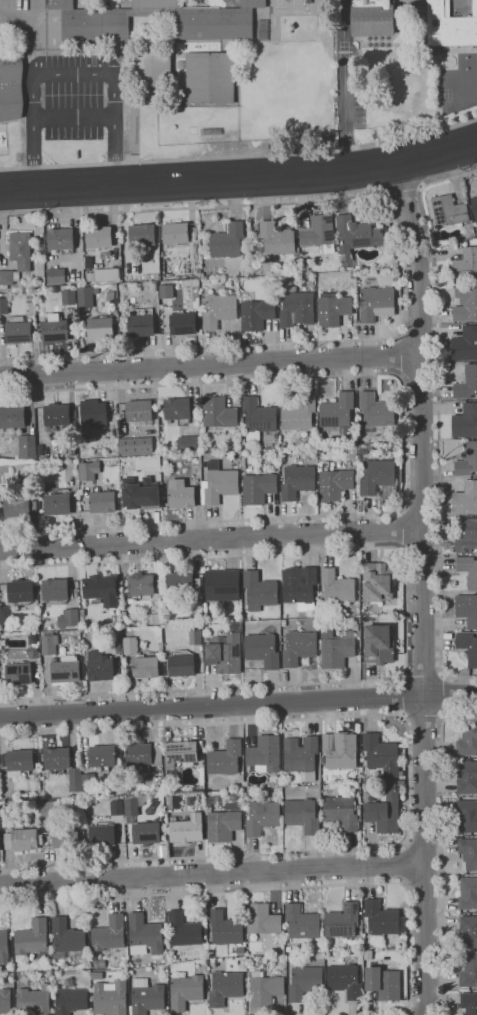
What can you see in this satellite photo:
road: (38, 7)
road: (19, 15)
building: (371, 17)
building: (449, 25)
building: (206, 27)
road: (39, 44)
road: (73, 71)
building: (155, 75)
building: (209, 77)
building: (10, 85)
road: (344, 85)
road: (74, 115)
road: (240, 154)
road: (240, 177)
road: (134, 185)
road: (403, 189)
road: (264, 203)
building: (474, 206)
building: (448, 211)
building: (176, 233)
building: (319, 233)
building: (142, 234)
building: (98, 237)
building: (355, 237)
building: (60, 239)
building: (276, 239)
building: (227, 241)
building: (108, 253)
building: (17, 257)
building: (88, 263)
building: (466, 265)
building: (246, 268)
building: (106, 274)
building: (353, 275)
building: (54, 276)
building: (474, 284)
building: (279, 287)
building: (165, 290)
building: (67, 296)
building: (86, 297)
building: (376, 303)
building: (465, 304)
building: (3, 305)
building: (296, 308)
building: (332, 308)
building: (219, 310)
building: (33, 311)
building: (256, 314)
building: (142, 323)
building: (182, 323)
building: (55, 329)
building: (18, 330)
building: (100, 330)
building: (465, 344)
road: (199, 347)
road: (399, 357)
road: (209, 364)
building: (467, 383)
building: (175, 410)
building: (139, 411)
building: (376, 411)
building: (93, 412)
building: (218, 412)
building: (299, 414)
building: (339, 414)
building: (57, 415)
road: (438, 417)
building: (12, 418)
building: (257, 418)
building: (465, 421)
building: (74, 427)
building: (274, 436)
road: (404, 442)
building: (188, 443)
building: (271, 444)
building: (135, 445)
building: (27, 447)
building: (238, 455)
building: (467, 460)
building: (243, 463)
building: (88, 470)
building: (377, 476)
building: (475, 476)
building: (297, 481)
building: (334, 482)
building: (218, 484)
building: (258, 488)
building: (141, 494)
building: (181, 495)
building: (465, 499)
building: (103, 502)
building: (57, 504)
building: (16, 507)
road: (401, 528)
building: (467, 536)
road: (210, 539)
building: (468, 571)
building: (377, 581)
building: (183, 584)
building: (141, 585)
building: (222, 585)
building: (300, 587)
building: (337, 587)
road: (423, 587)
building: (103, 588)
building: (56, 589)
building: (22, 591)
building: (259, 591)
building: (467, 609)
building: (199, 610)
road: (405, 613)
building: (7, 615)
building: (69, 617)
building: (124, 620)
building: (283, 622)
building: (355, 627)
building: (205, 637)
building: (195, 638)
building: (34, 639)
building: (3, 642)
building: (49, 642)
building: (378, 643)
building: (130, 645)
building: (299, 647)
building: (468, 647)
building: (336, 648)
building: (226, 650)
building: (262, 650)
building: (35, 652)
building: (181, 665)
building: (101, 666)
building: (145, 667)
building: (67, 669)
building: (19, 674)
road: (424, 675)
road: (446, 695)
road: (401, 696)
road: (238, 705)
road: (423, 717)
building: (467, 741)
building: (340, 750)
building: (181, 752)
building: (145, 754)
building: (265, 754)
building: (301, 755)
building: (381, 755)
building: (104, 757)
building: (225, 758)
building: (58, 759)
building: (4, 760)
building: (322, 760)
building: (22, 762)
building: (172, 773)
building: (242, 773)
building: (401, 773)
building: (76, 774)
building: (467, 777)
road: (407, 780)
building: (89, 781)
building: (401, 782)
building: (278, 784)
building: (286, 784)
building: (364, 786)
building: (5, 790)
building: (80, 794)
building: (86, 794)
building: (233, 796)
building: (211, 800)
building: (246, 804)
building: (132, 806)
building: (118, 807)
building: (358, 807)
building: (51, 808)
building: (0, 811)
building: (162, 811)
building: (340, 812)
building: (384, 812)
building: (302, 815)
building: (467, 816)
building: (262, 817)
building: (224, 824)
building: (150, 829)
building: (187, 829)
building: (102, 833)
building: (0, 835)
building: (22, 837)
building: (67, 837)
road: (442, 848)
building: (469, 852)
road: (405, 863)
road: (212, 873)
road: (279, 887)
building: (468, 893)
building: (263, 920)
building: (381, 922)
building: (303, 923)
building: (343, 923)
building: (363, 927)
building: (227, 928)
building: (184, 931)
building: (469, 931)
building: (111, 934)
building: (146, 935)
building: (69, 936)
building: (33, 937)
building: (4, 946)
building: (180, 957)
building: (367, 957)
building: (99, 963)
building: (469, 972)
building: (97, 976)
building: (345, 981)
building: (305, 982)
building: (384, 982)
building: (226, 987)
building: (267, 988)
building: (187, 991)
building: (147, 997)
building: (111, 998)
building: (7, 1000)
building: (35, 1000)
building: (72, 1000)
building: (469, 1003)

